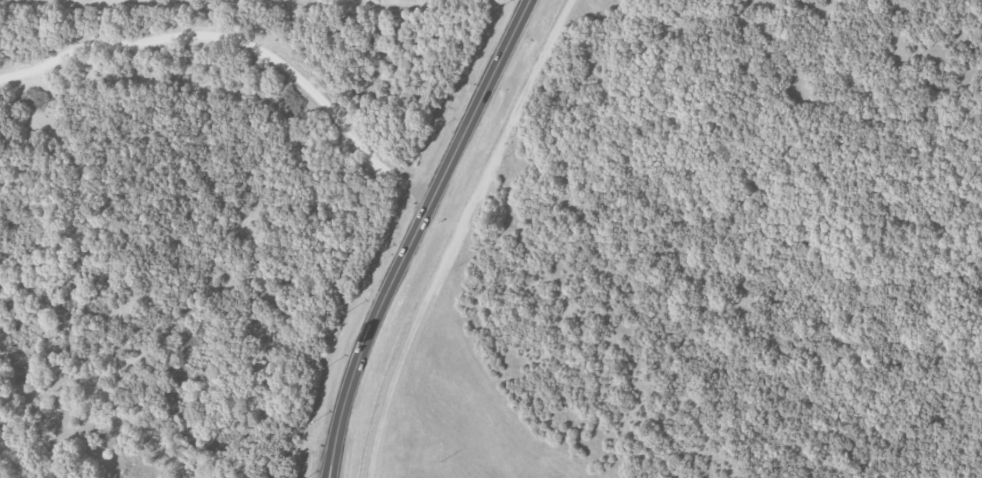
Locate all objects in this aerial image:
road: (242, 40)
road: (414, 233)

